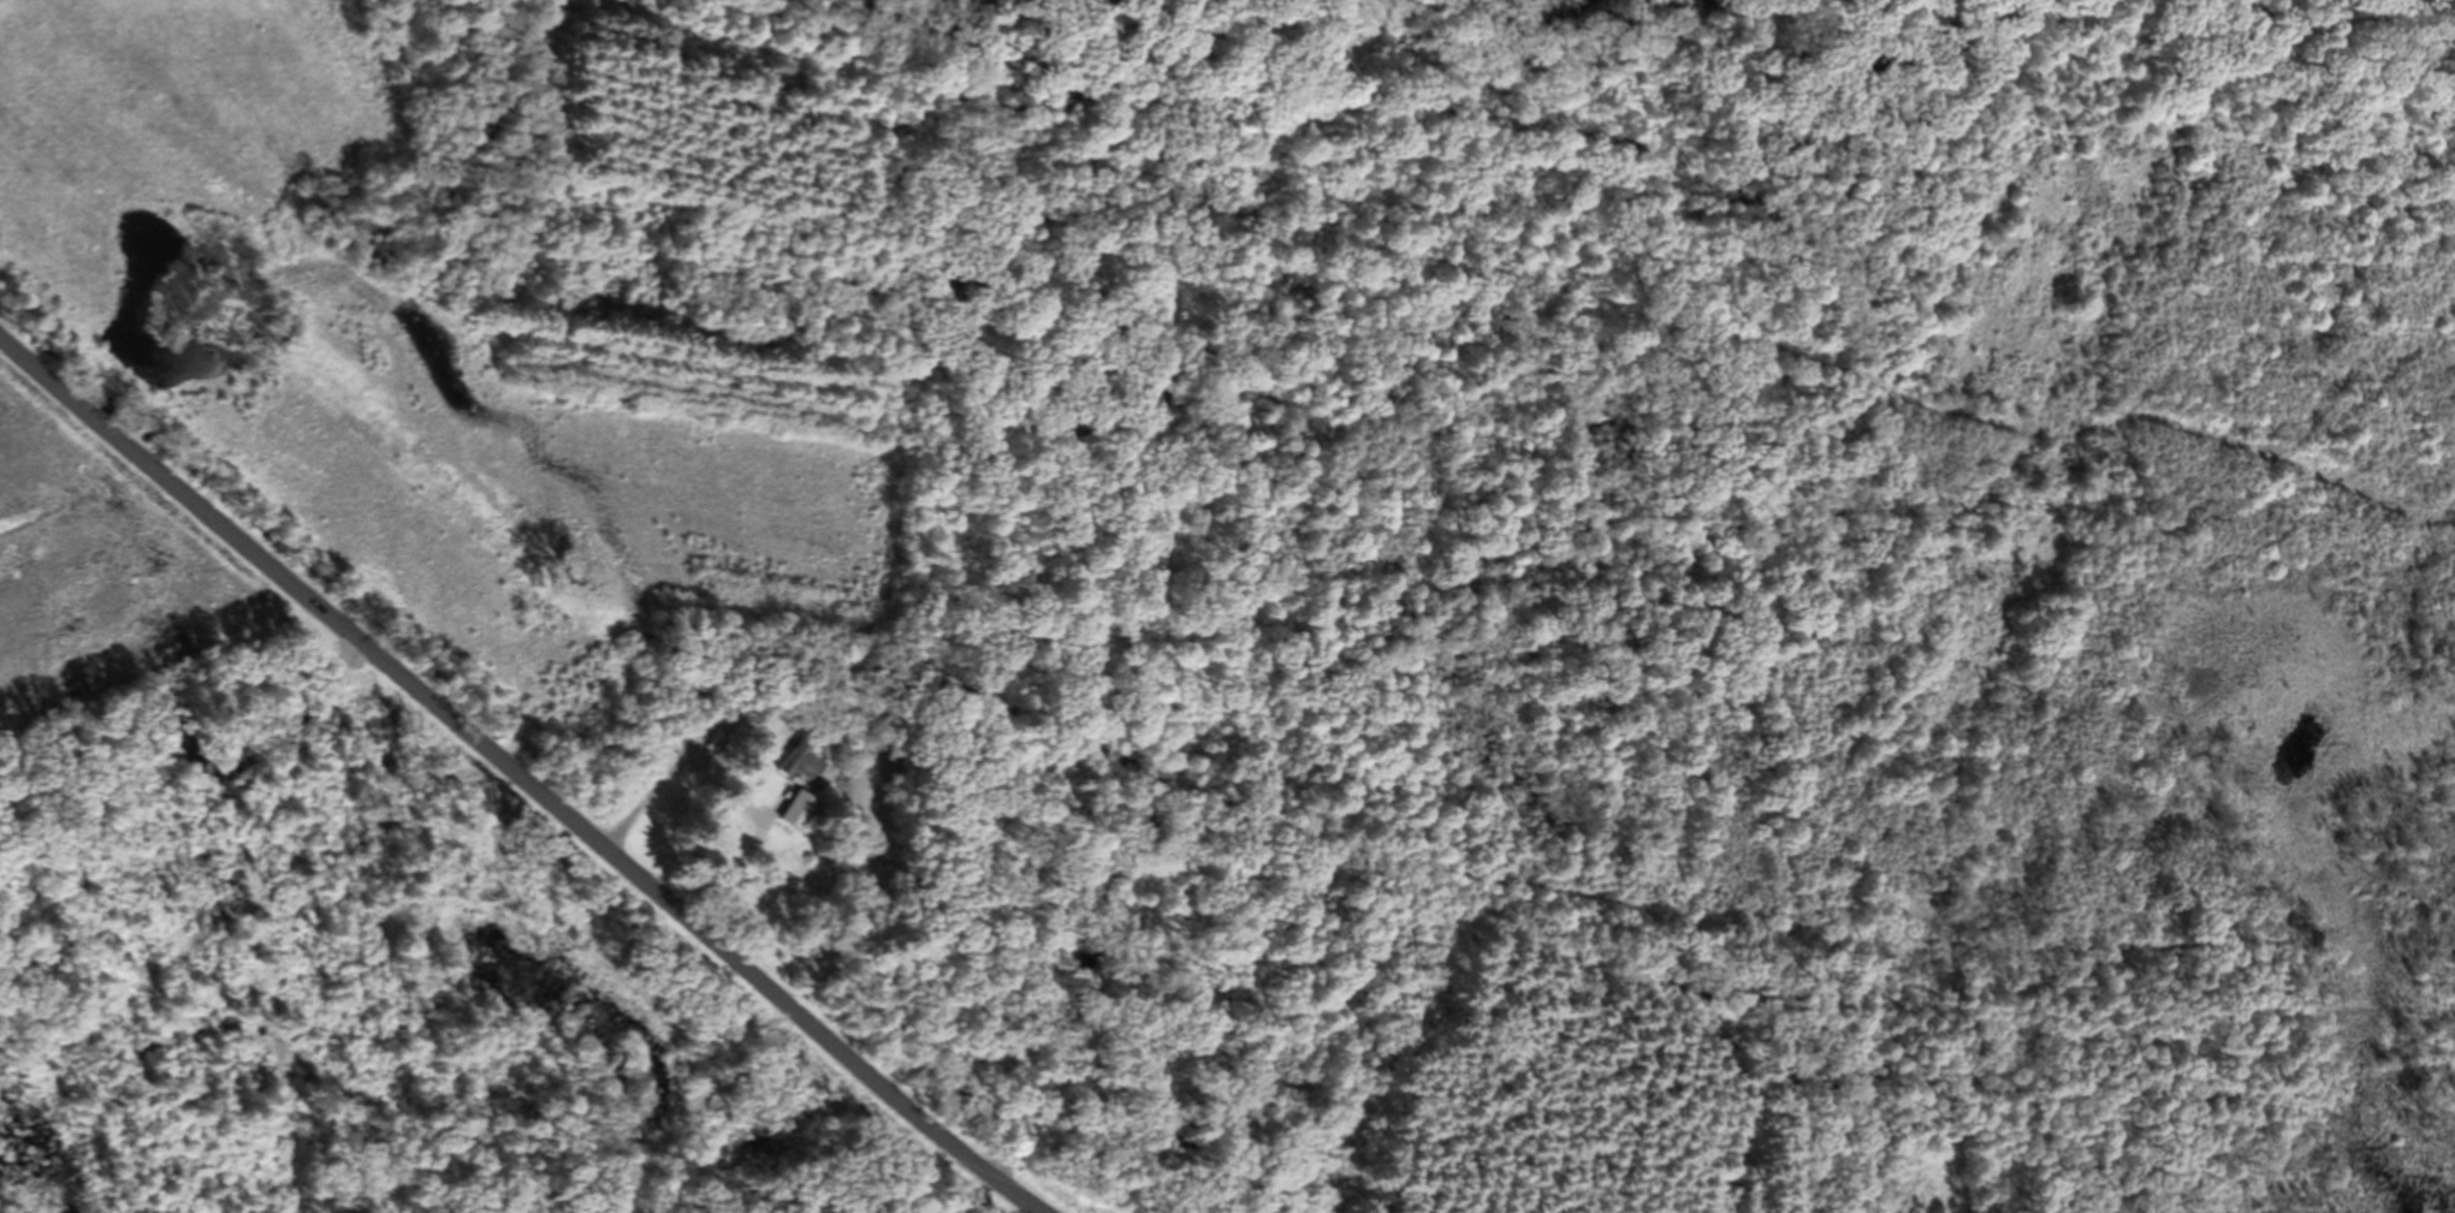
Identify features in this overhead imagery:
road: (366, 648)
building: (796, 767)
building: (797, 815)
road: (884, 1090)

